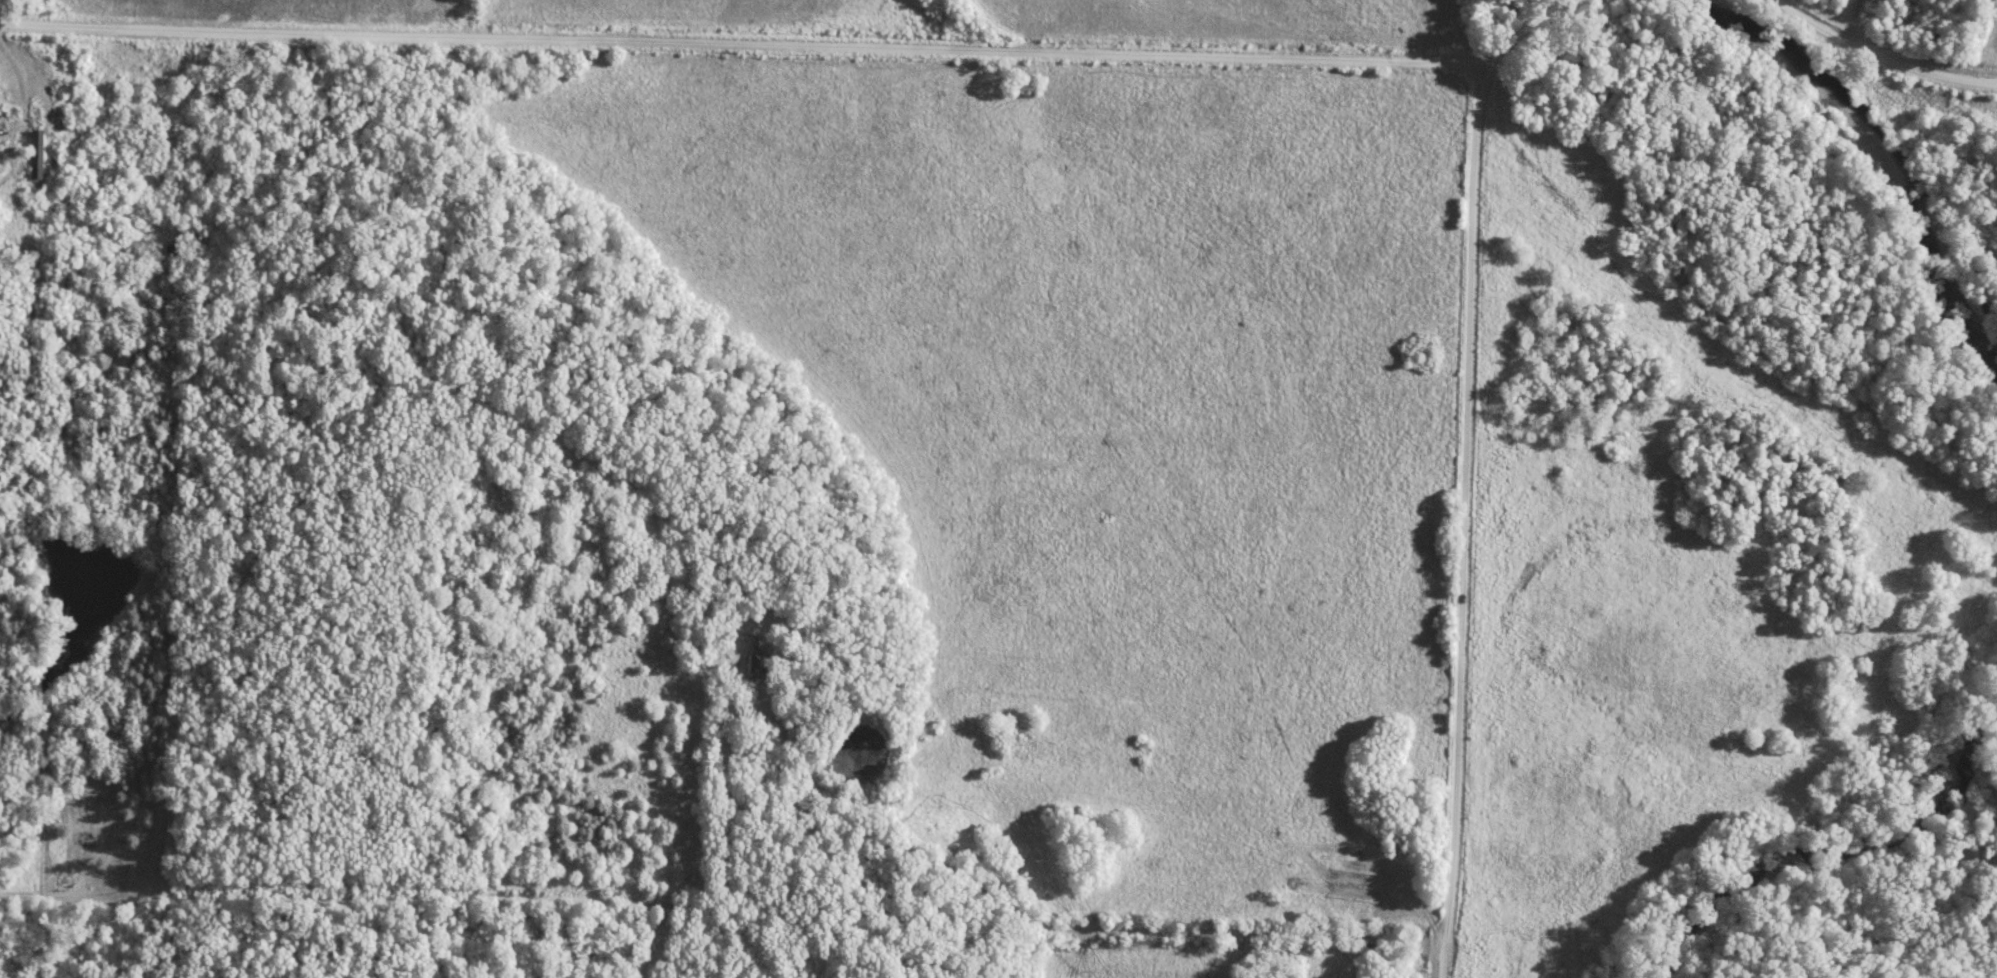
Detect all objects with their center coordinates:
road: (804, 48)
road: (1880, 58)
road: (1468, 526)
building: (762, 661)
road: (36, 894)
road: (1137, 932)

